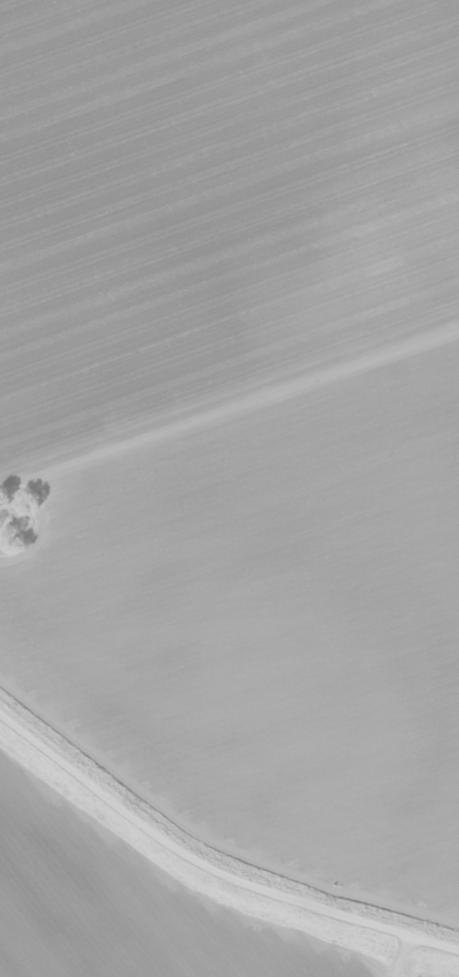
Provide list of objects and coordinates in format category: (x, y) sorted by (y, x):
road: (229, 407)
park: (21, 518)
road: (210, 872)
road: (403, 958)

